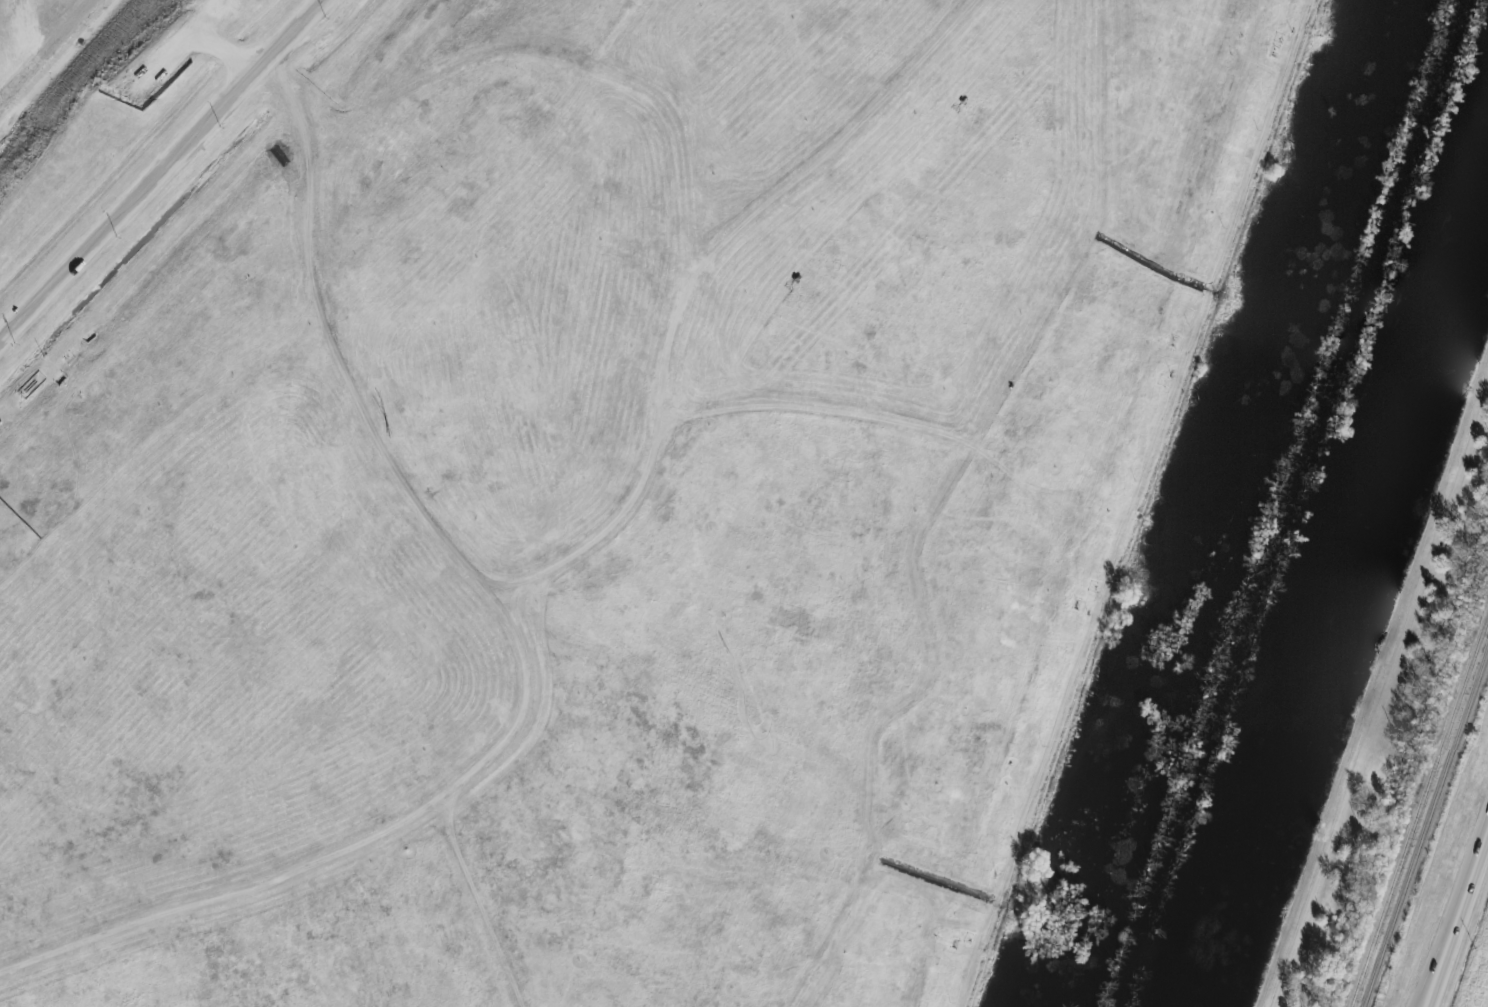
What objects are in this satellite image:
road: (166, 177)
road: (694, 281)
landfill: (580, 478)
road: (530, 660)
railway: (1419, 811)
railway: (1426, 828)
road: (1457, 917)

